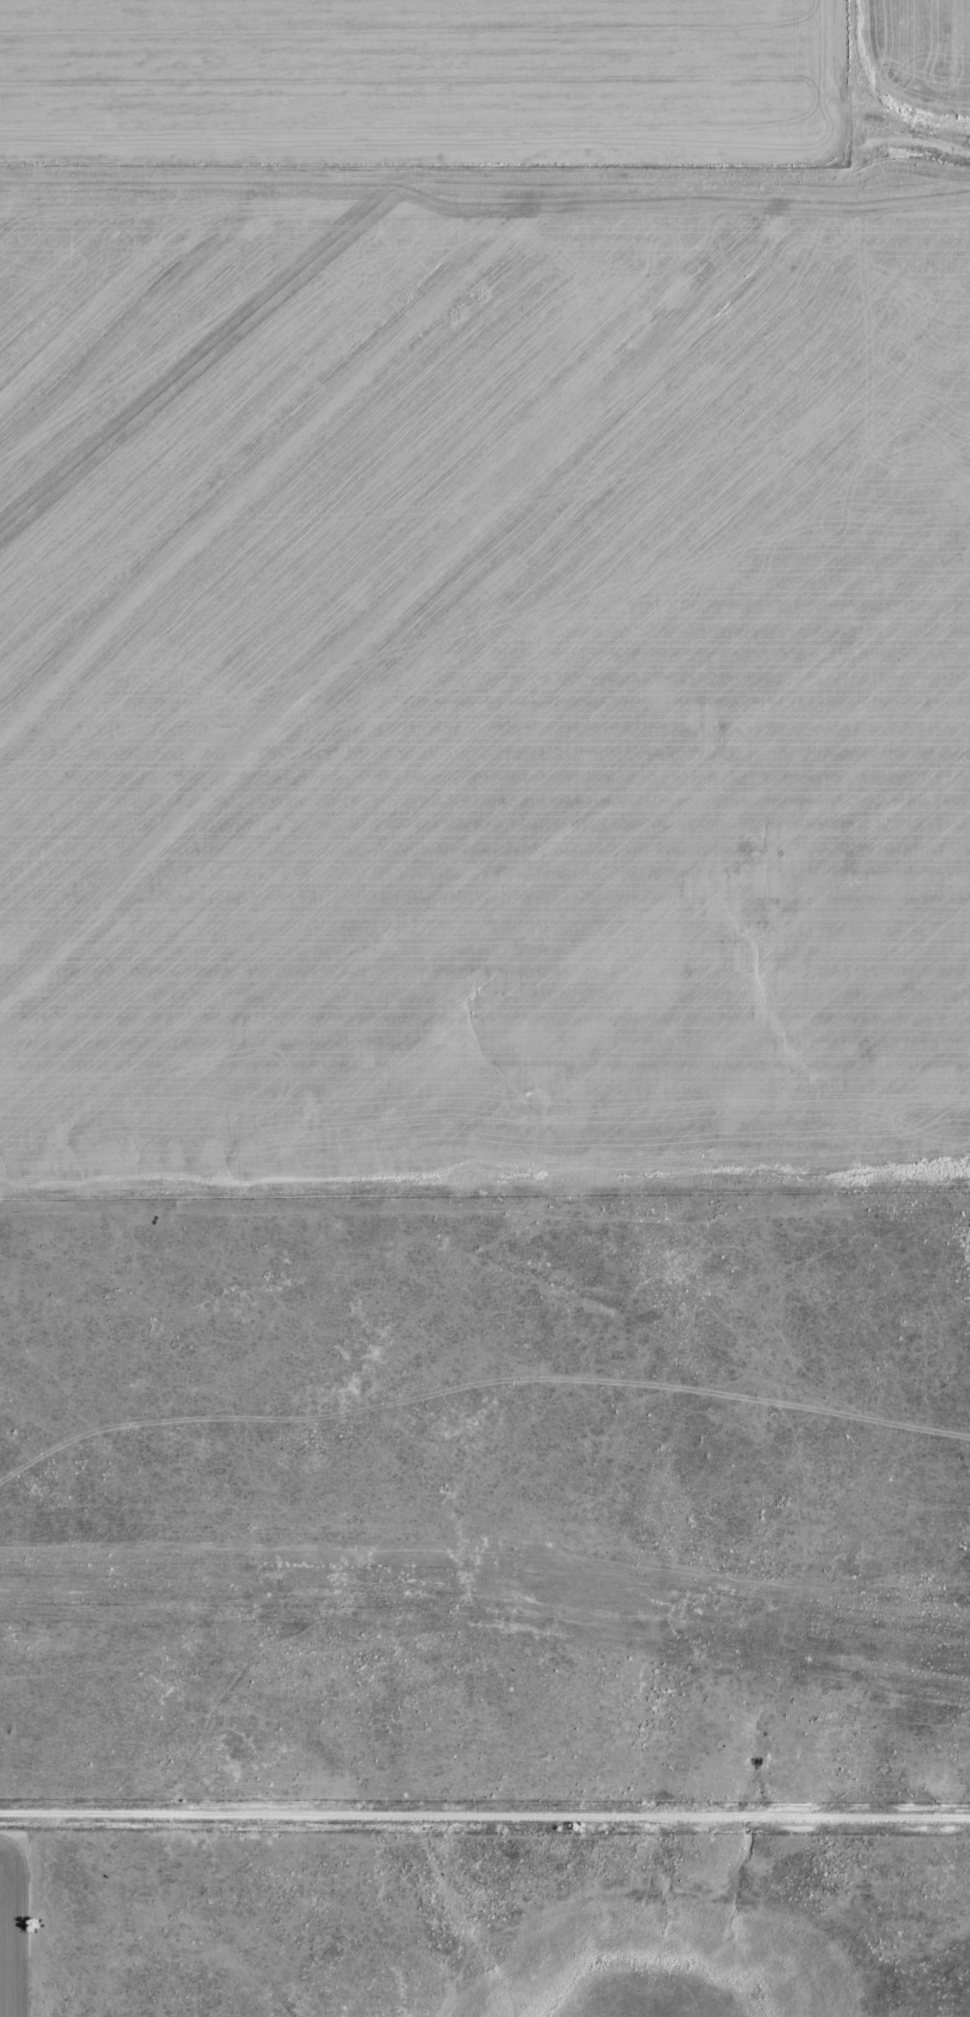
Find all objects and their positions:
road: (485, 1812)

